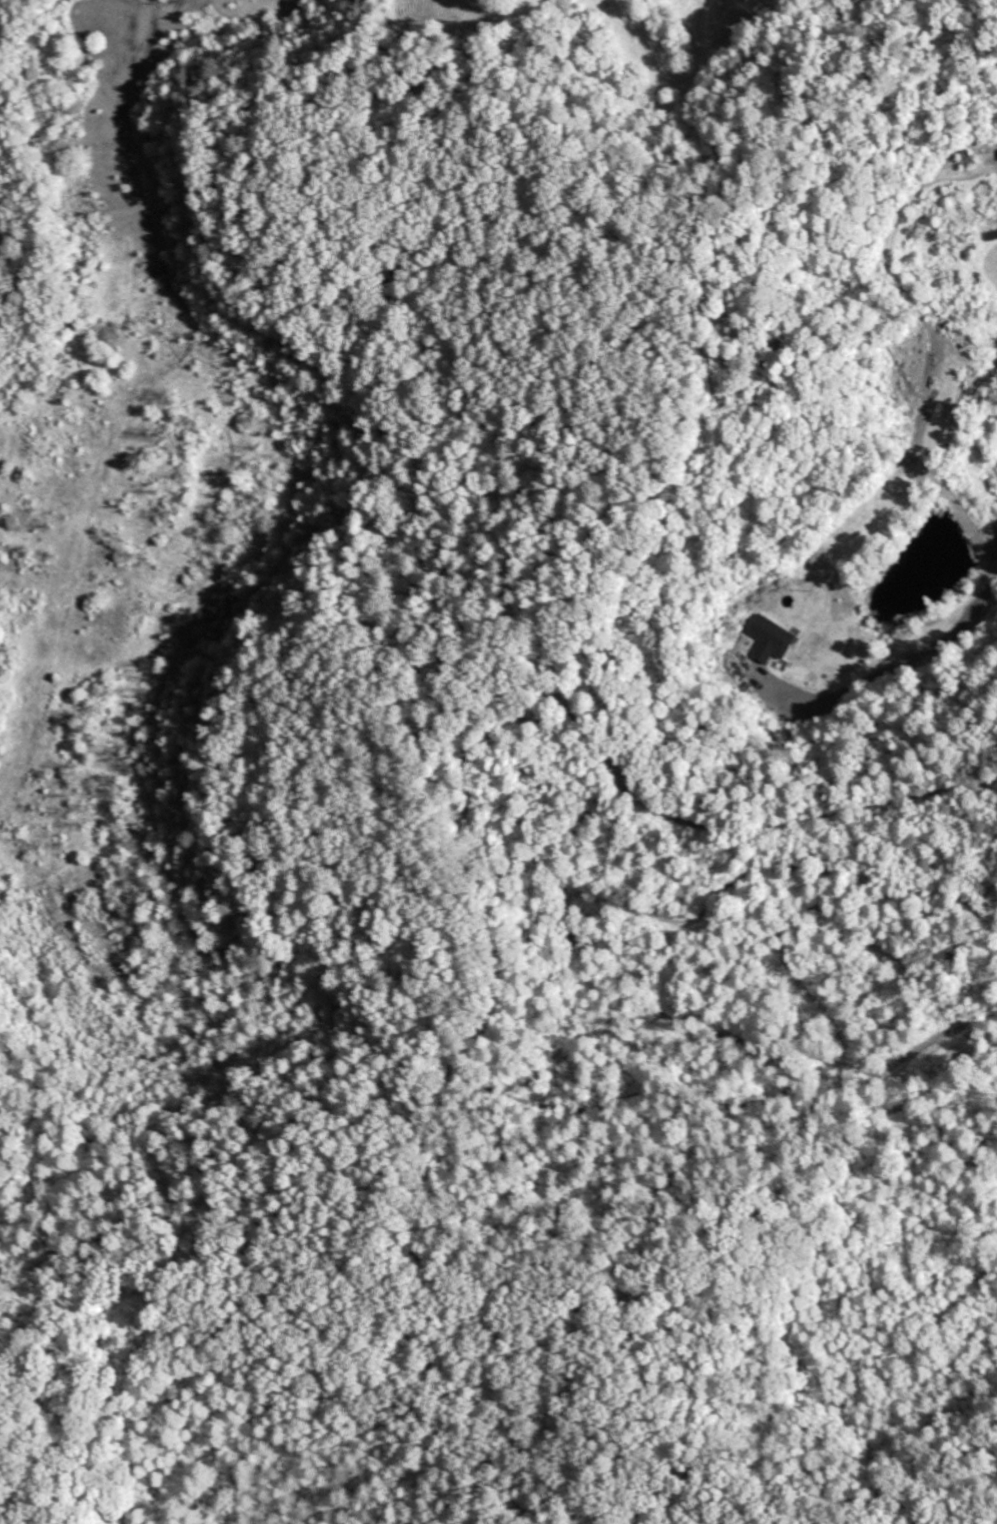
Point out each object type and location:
building: (970, 158)
road: (971, 495)
building: (772, 639)

